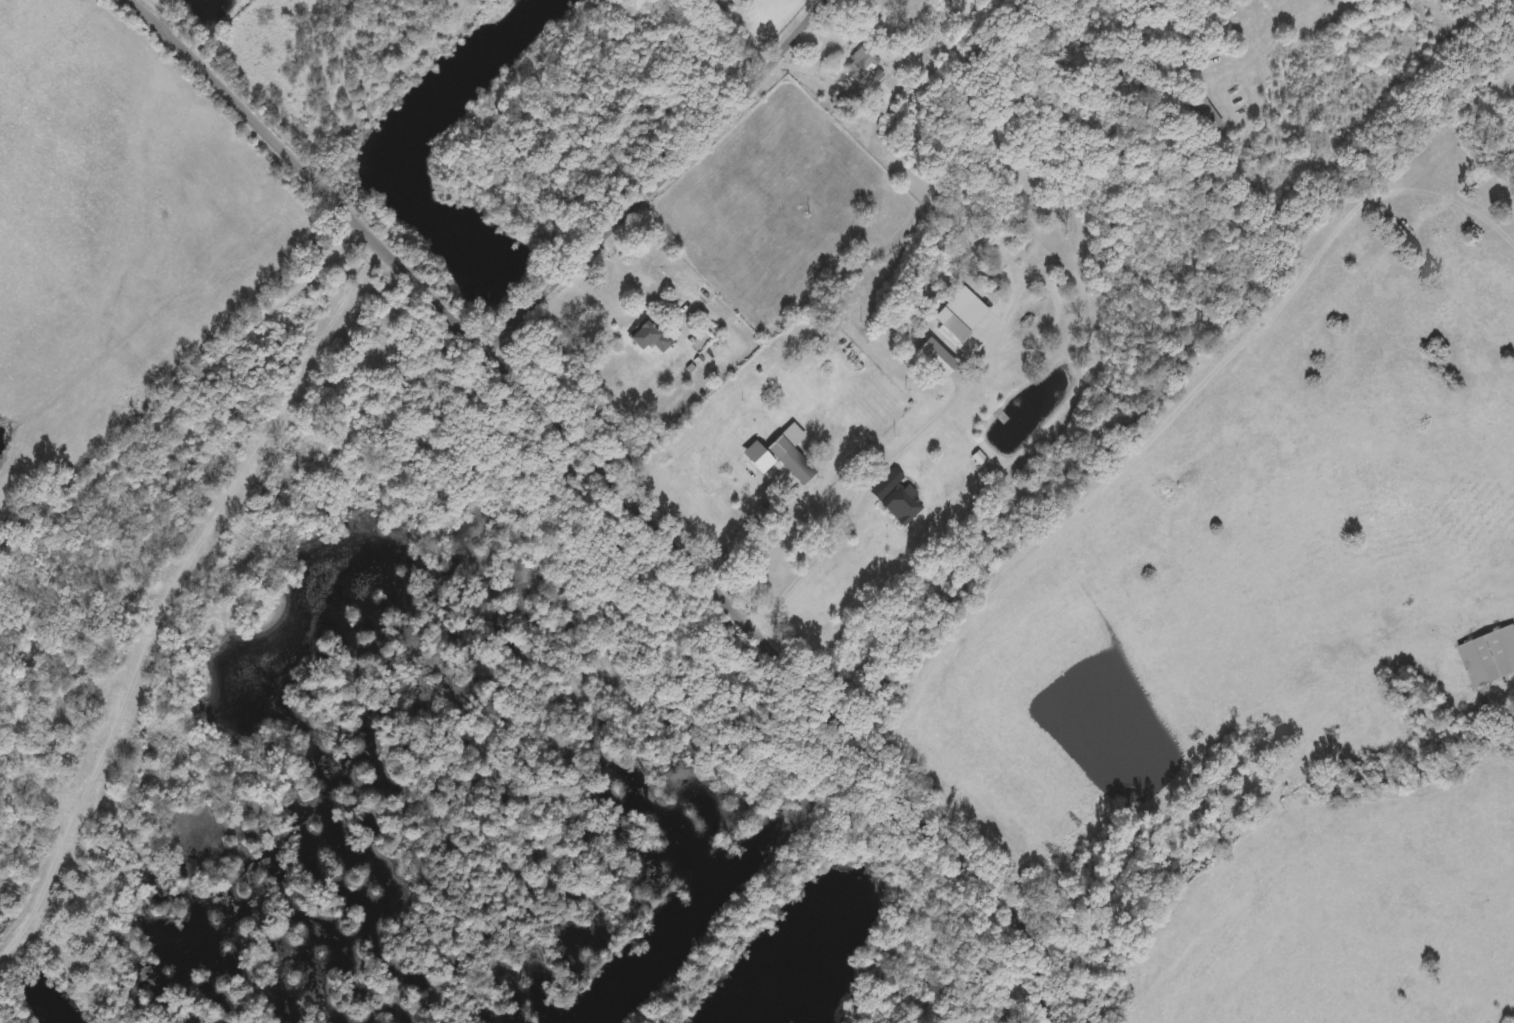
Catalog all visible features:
building: (957, 0)
building: (860, 61)
building: (1204, 110)
road: (663, 178)
road: (637, 277)
building: (953, 327)
building: (653, 334)
building: (934, 355)
road: (182, 400)
building: (756, 447)
building: (794, 463)
road: (876, 468)
building: (885, 482)
road: (628, 491)
building: (903, 503)
road: (171, 591)
building: (1489, 654)

